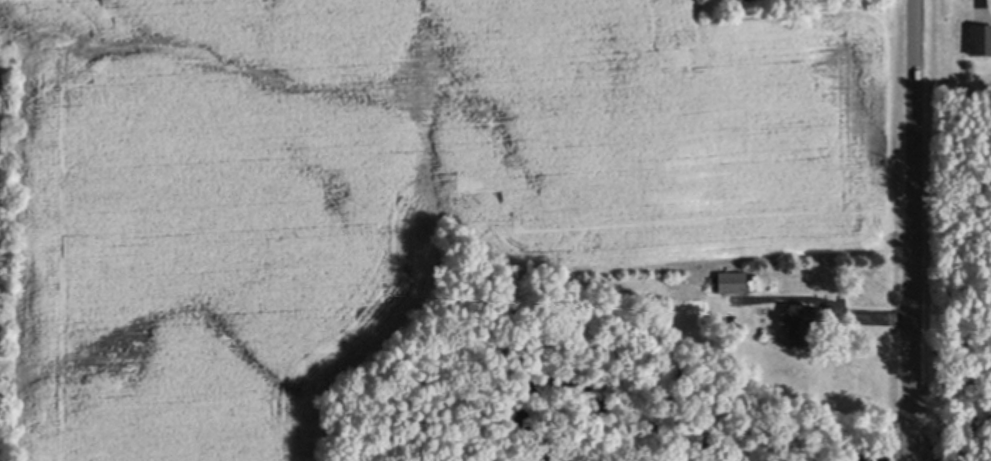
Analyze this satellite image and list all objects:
road: (978, 1)
building: (981, 38)
road: (912, 202)
building: (758, 277)
building: (733, 280)
building: (800, 320)
road: (911, 432)
river: (934, 442)

